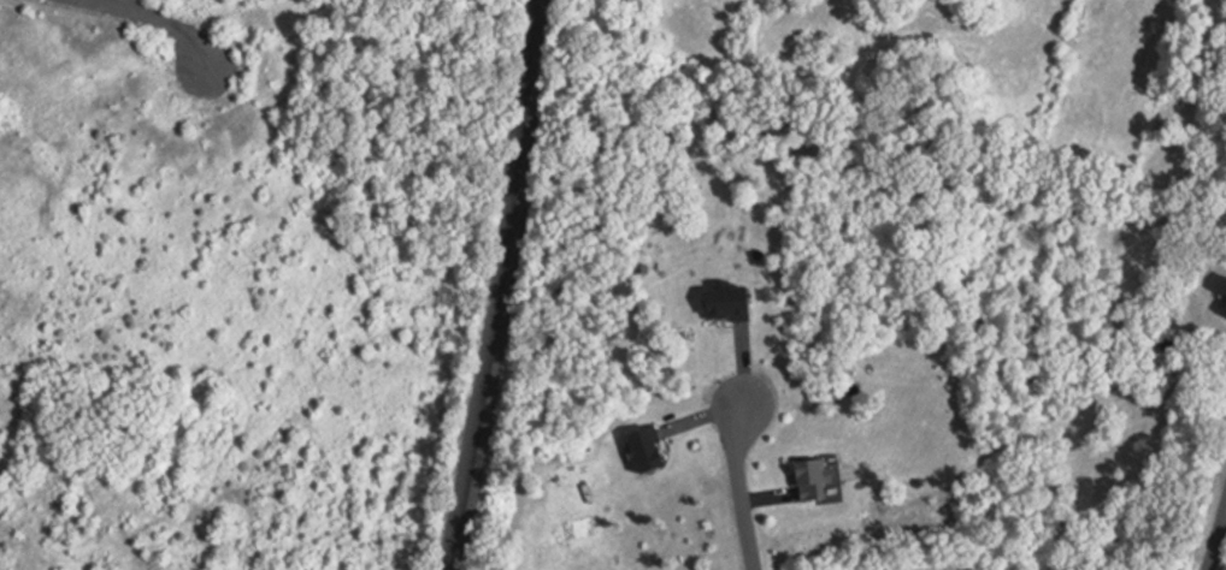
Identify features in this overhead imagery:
road: (164, 19)
railway: (509, 286)
building: (735, 304)
road: (743, 491)
road: (1216, 541)

